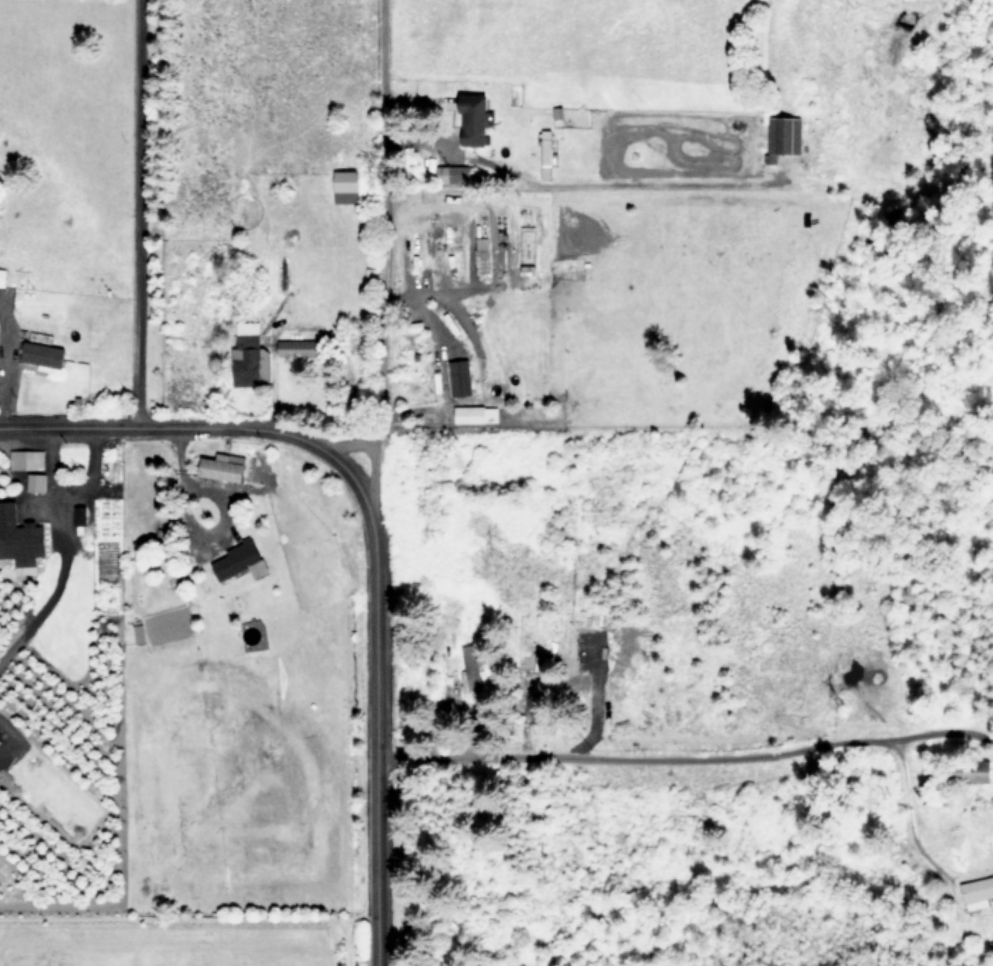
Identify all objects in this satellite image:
building: (474, 119)
building: (785, 134)
road: (388, 148)
building: (546, 151)
building: (459, 173)
building: (347, 186)
road: (132, 211)
building: (482, 254)
building: (3, 276)
road: (381, 338)
building: (299, 347)
building: (43, 354)
building: (251, 356)
building: (461, 377)
building: (475, 413)
road: (368, 454)
building: (26, 459)
building: (223, 466)
building: (35, 481)
road: (369, 534)
building: (20, 536)
road: (56, 543)
building: (240, 560)
building: (473, 666)
road: (938, 723)
road: (628, 753)
building: (980, 771)
road: (903, 837)
building: (977, 892)

